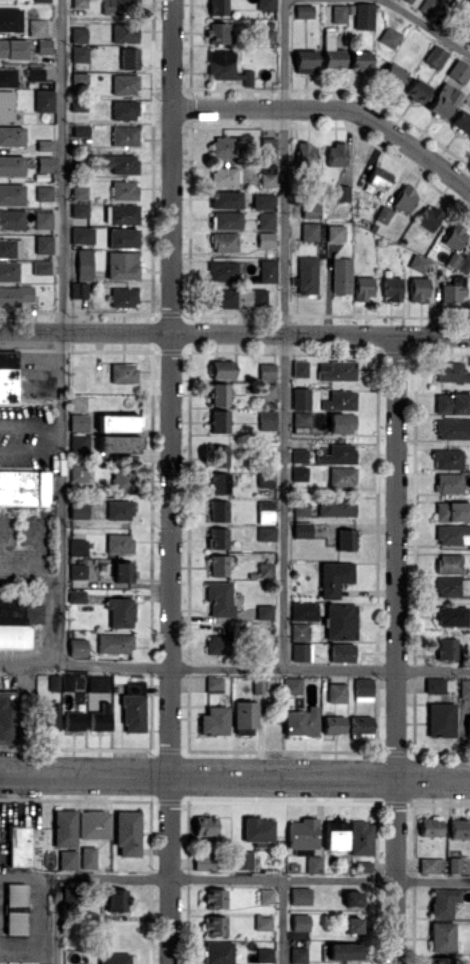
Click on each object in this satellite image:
building: (41, 0)
building: (409, 0)
building: (78, 3)
building: (265, 4)
building: (120, 7)
building: (217, 7)
building: (429, 7)
building: (303, 10)
building: (338, 13)
building: (363, 16)
building: (10, 19)
building: (36, 27)
road: (427, 27)
building: (124, 33)
building: (217, 33)
building: (78, 34)
building: (266, 36)
building: (389, 37)
building: (469, 43)
building: (44, 45)
building: (13, 48)
building: (79, 53)
building: (435, 55)
building: (128, 57)
building: (359, 59)
building: (304, 61)
building: (221, 64)
building: (458, 71)
building: (35, 73)
building: (393, 74)
building: (7, 77)
building: (79, 77)
building: (245, 77)
building: (124, 84)
building: (416, 91)
building: (44, 100)
building: (443, 100)
building: (6, 105)
building: (123, 109)
road: (332, 110)
building: (461, 122)
building: (81, 130)
building: (124, 135)
building: (11, 136)
building: (44, 144)
building: (267, 145)
building: (224, 146)
building: (306, 154)
building: (336, 154)
building: (44, 163)
building: (121, 163)
building: (11, 165)
building: (267, 174)
building: (224, 176)
building: (378, 178)
building: (123, 190)
building: (79, 192)
building: (342, 192)
building: (44, 193)
building: (11, 194)
building: (404, 198)
building: (226, 199)
building: (263, 201)
building: (79, 210)
building: (310, 210)
building: (123, 214)
building: (383, 214)
building: (428, 217)
building: (11, 218)
building: (42, 219)
building: (226, 220)
building: (265, 220)
building: (309, 231)
building: (335, 233)
building: (81, 235)
building: (454, 237)
building: (122, 238)
building: (265, 239)
building: (224, 242)
building: (43, 244)
building: (10, 248)
building: (418, 263)
building: (84, 264)
building: (464, 264)
building: (121, 265)
building: (41, 267)
building: (222, 270)
building: (267, 270)
building: (8, 271)
building: (307, 274)
building: (341, 275)
building: (363, 287)
building: (391, 288)
building: (418, 288)
building: (78, 289)
building: (452, 290)
building: (15, 294)
building: (123, 297)
building: (250, 297)
building: (224, 298)
road: (234, 333)
road: (59, 334)
road: (285, 336)
building: (299, 368)
building: (222, 369)
building: (266, 371)
building: (338, 371)
building: (123, 372)
building: (451, 372)
building: (8, 375)
building: (267, 390)
building: (219, 394)
building: (300, 398)
building: (339, 400)
building: (452, 403)
building: (266, 419)
building: (219, 421)
building: (78, 422)
building: (301, 422)
building: (118, 423)
building: (341, 423)
road: (29, 425)
building: (453, 429)
building: (77, 443)
building: (118, 443)
road: (29, 450)
building: (337, 454)
building: (219, 455)
building: (299, 455)
building: (447, 459)
building: (78, 472)
building: (299, 473)
building: (342, 476)
building: (265, 479)
building: (122, 480)
road: (171, 482)
building: (448, 482)
building: (218, 483)
building: (24, 486)
building: (336, 507)
building: (300, 508)
building: (118, 509)
building: (218, 510)
building: (78, 511)
building: (452, 511)
building: (265, 512)
building: (301, 530)
building: (266, 533)
building: (453, 534)
building: (217, 537)
building: (345, 539)
building: (119, 543)
building: (77, 547)
building: (448, 562)
building: (218, 565)
road: (30, 568)
building: (264, 569)
building: (78, 571)
building: (123, 571)
building: (333, 578)
building: (451, 586)
building: (76, 596)
building: (219, 598)
building: (120, 611)
building: (264, 611)
building: (303, 611)
building: (34, 614)
building: (452, 616)
building: (340, 621)
building: (13, 624)
building: (298, 631)
building: (115, 643)
building: (217, 644)
building: (77, 646)
building: (446, 648)
road: (397, 649)
building: (299, 652)
building: (341, 652)
road: (234, 672)
building: (54, 682)
building: (67, 682)
building: (98, 683)
building: (214, 683)
building: (292, 685)
building: (434, 685)
building: (464, 688)
building: (362, 690)
building: (336, 692)
building: (133, 706)
building: (245, 714)
building: (48, 715)
building: (10, 717)
building: (99, 718)
building: (440, 719)
building: (73, 720)
building: (214, 720)
building: (301, 722)
building: (333, 724)
building: (468, 725)
building: (360, 727)
road: (234, 779)
building: (94, 824)
building: (205, 825)
building: (430, 826)
building: (64, 828)
building: (459, 828)
building: (257, 830)
building: (127, 833)
building: (302, 833)
building: (335, 834)
building: (360, 837)
building: (18, 846)
building: (88, 857)
building: (67, 859)
building: (243, 860)
building: (204, 861)
building: (313, 864)
building: (454, 864)
building: (430, 865)
building: (363, 866)
road: (234, 877)
building: (14, 894)
building: (300, 895)
building: (266, 896)
building: (215, 898)
building: (352, 898)
building: (117, 901)
building: (443, 902)
road: (54, 919)
road: (284, 921)
building: (300, 921)
building: (14, 922)
building: (262, 922)
building: (352, 924)
building: (213, 925)
building: (441, 936)
building: (345, 951)
building: (217, 952)
building: (264, 955)
building: (298, 955)
building: (113, 958)
building: (442, 960)

